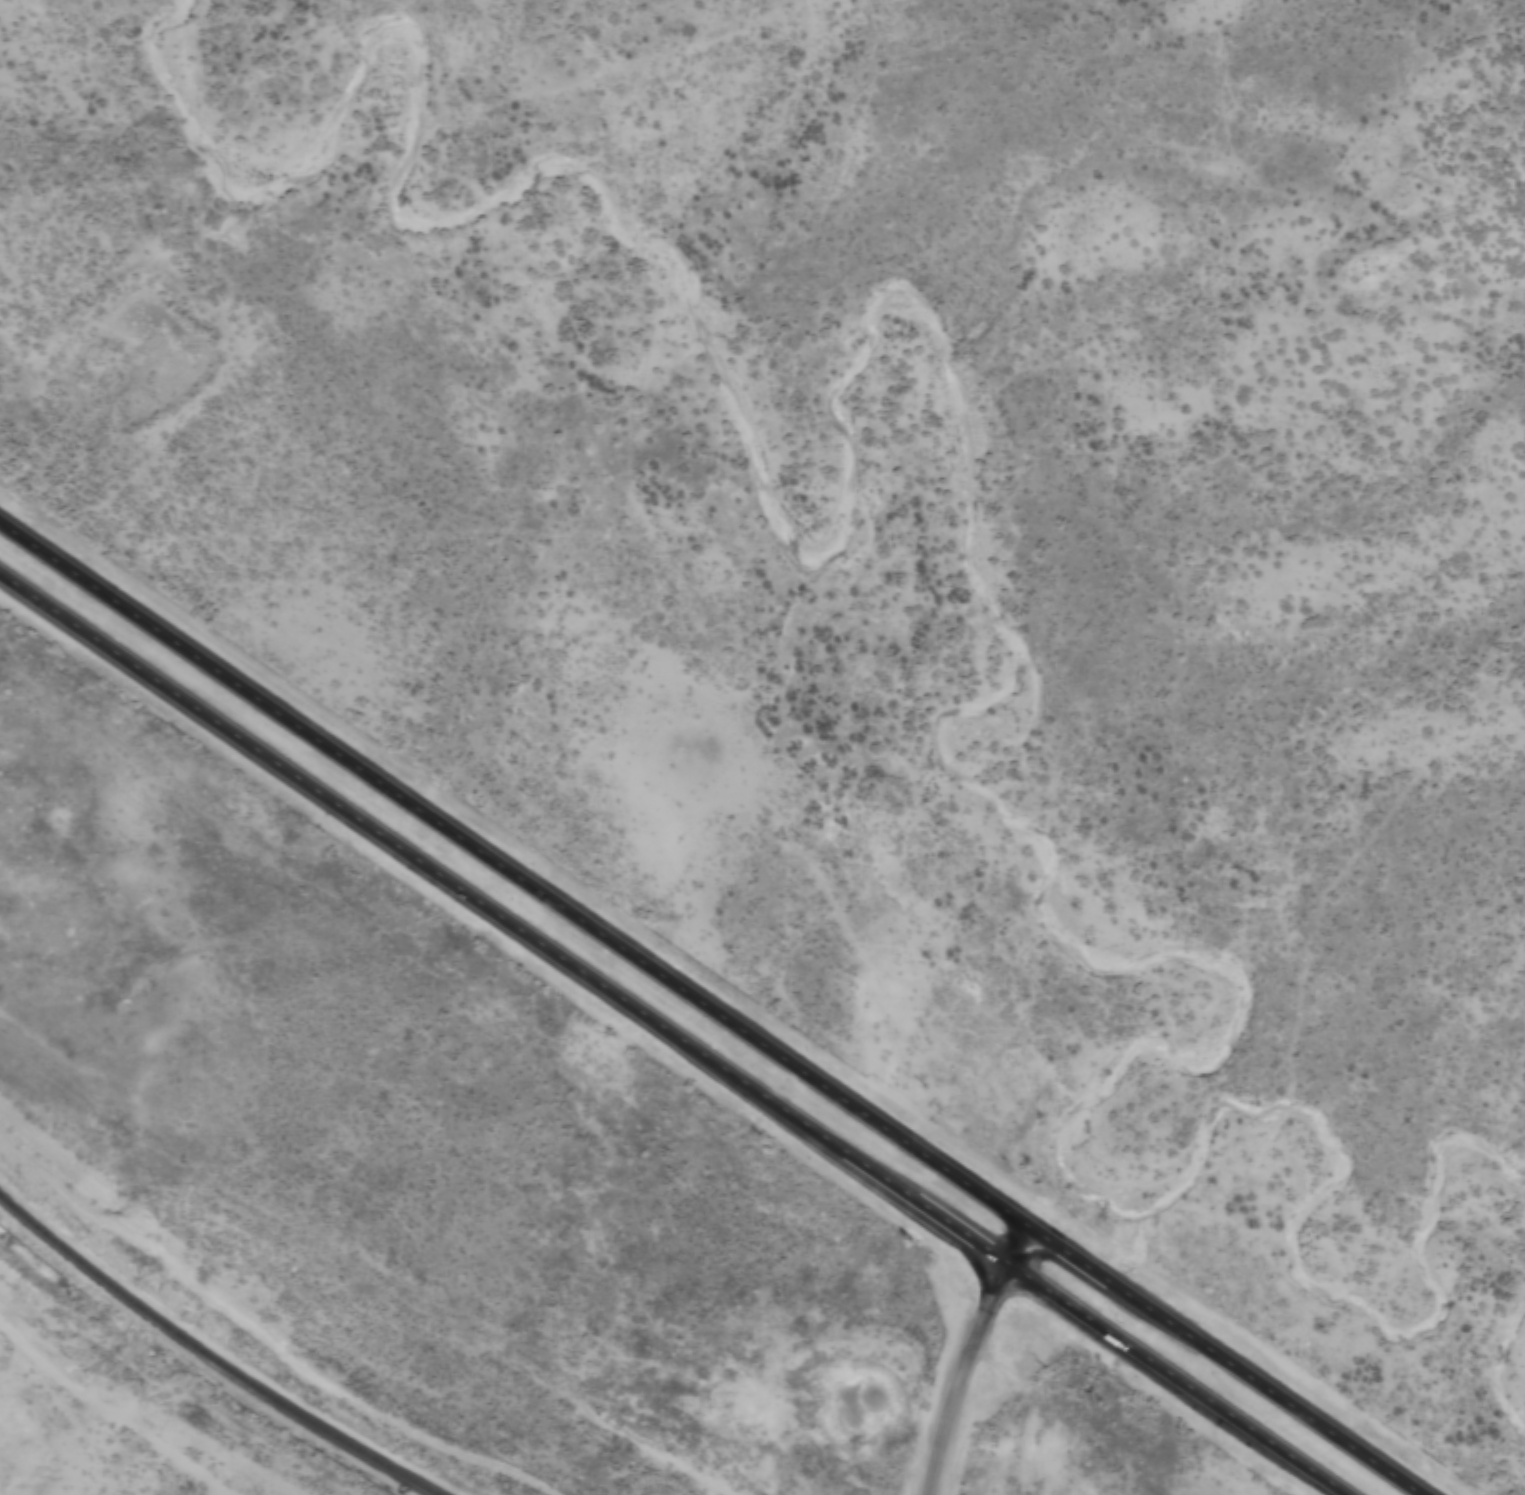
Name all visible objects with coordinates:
road: (712, 1009)
road: (673, 1036)
road: (968, 1356)
railway: (209, 1357)
road: (108, 1409)

